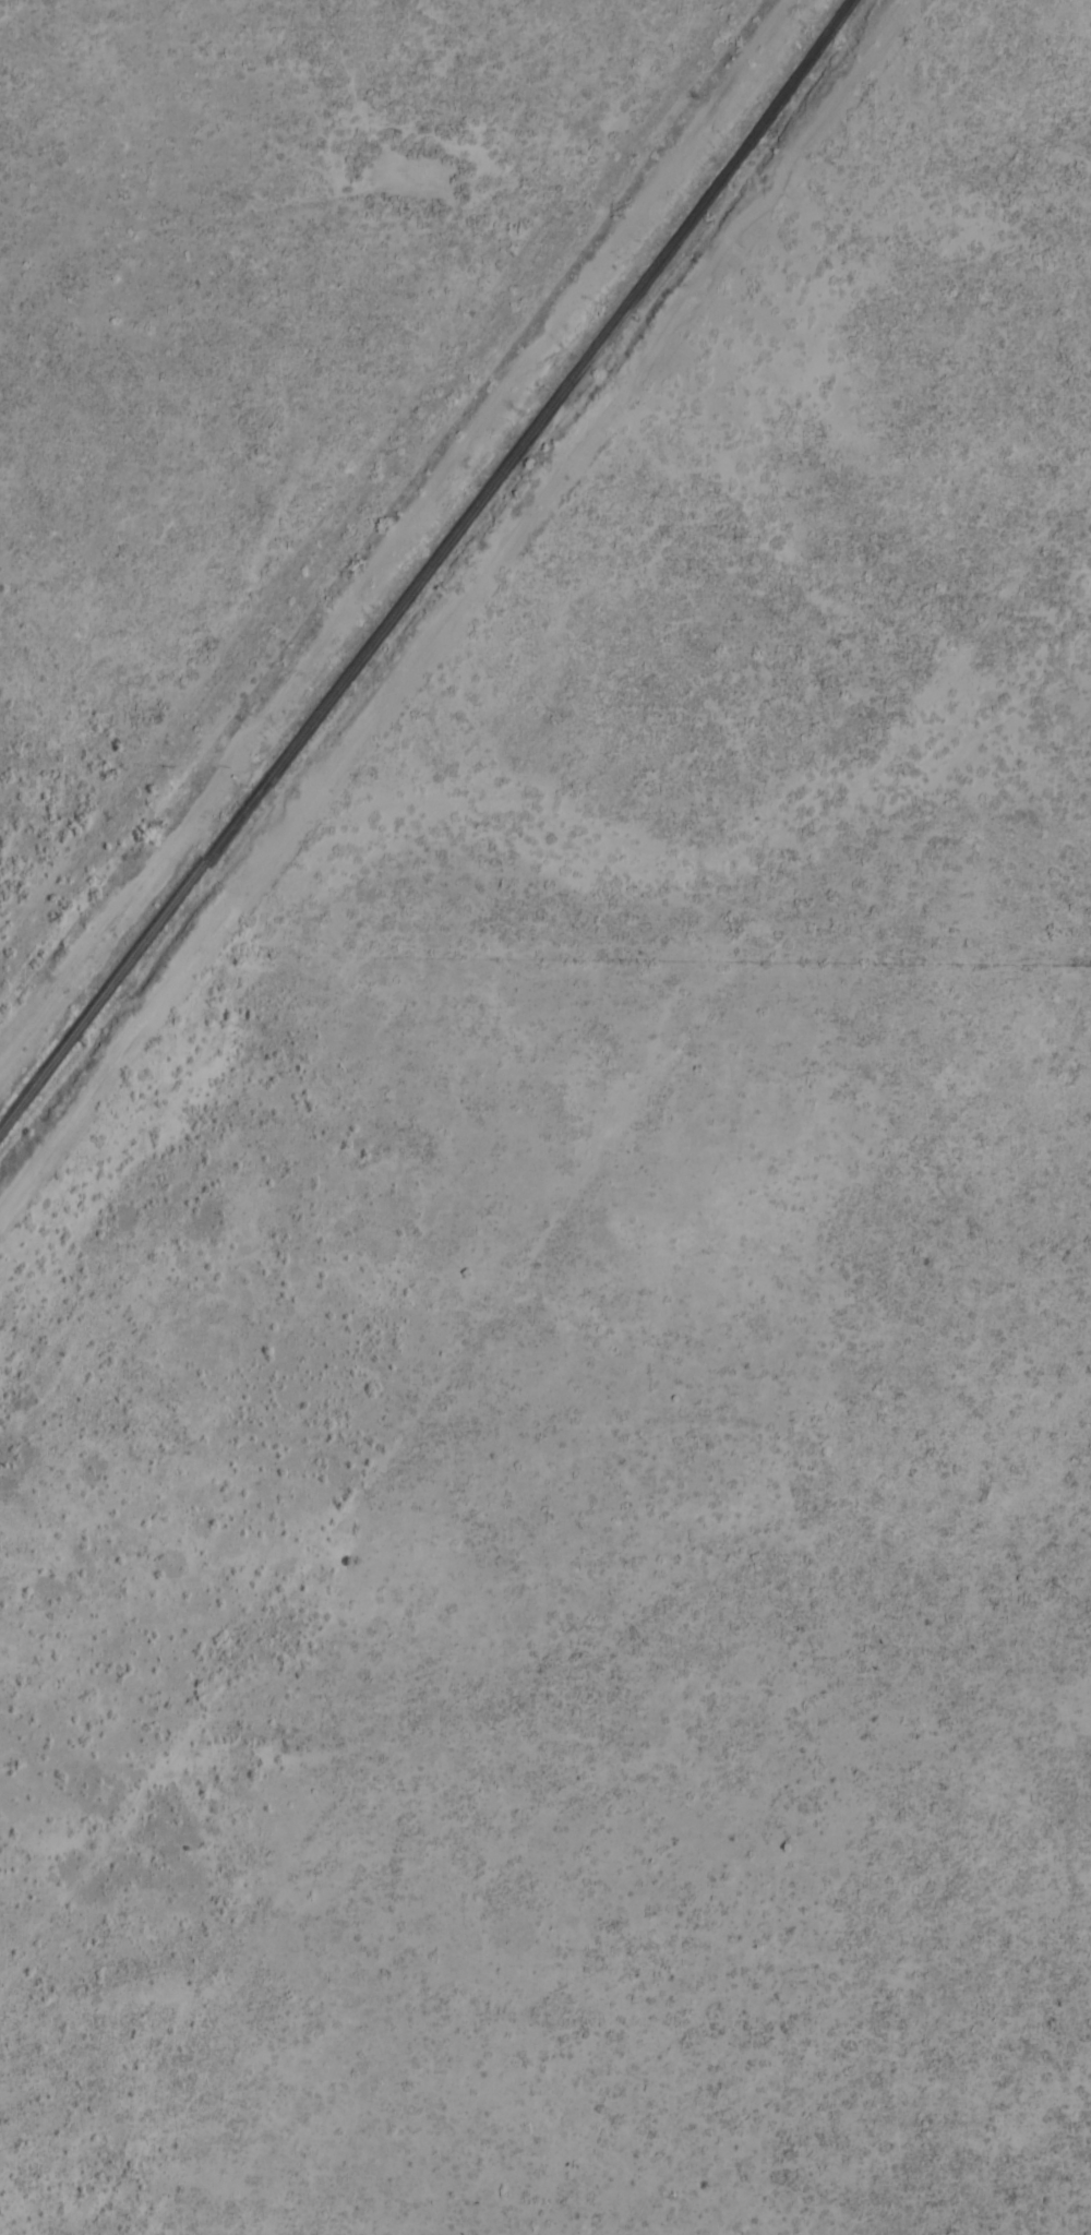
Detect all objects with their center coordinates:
road: (361, 487)
railway: (458, 523)
railway: (33, 1085)

